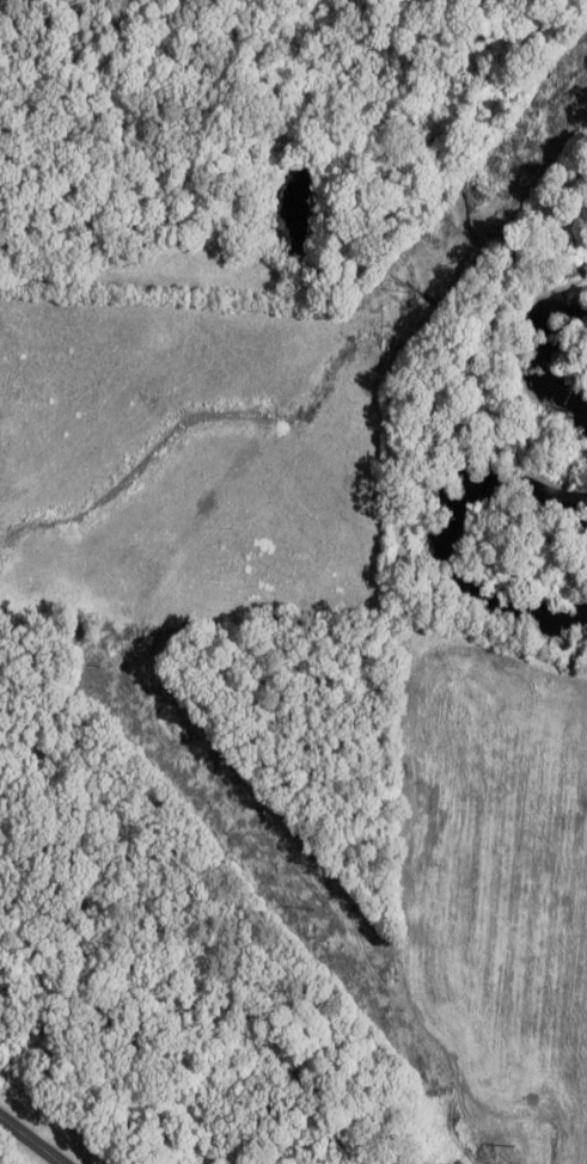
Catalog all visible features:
river: (537, 348)
river: (459, 552)
road: (31, 1140)

